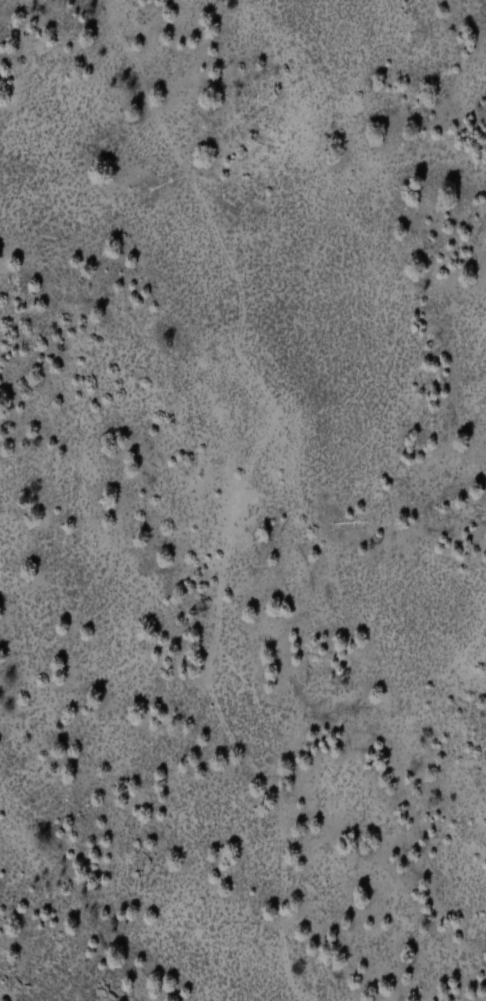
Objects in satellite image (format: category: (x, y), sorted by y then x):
road: (219, 726)

